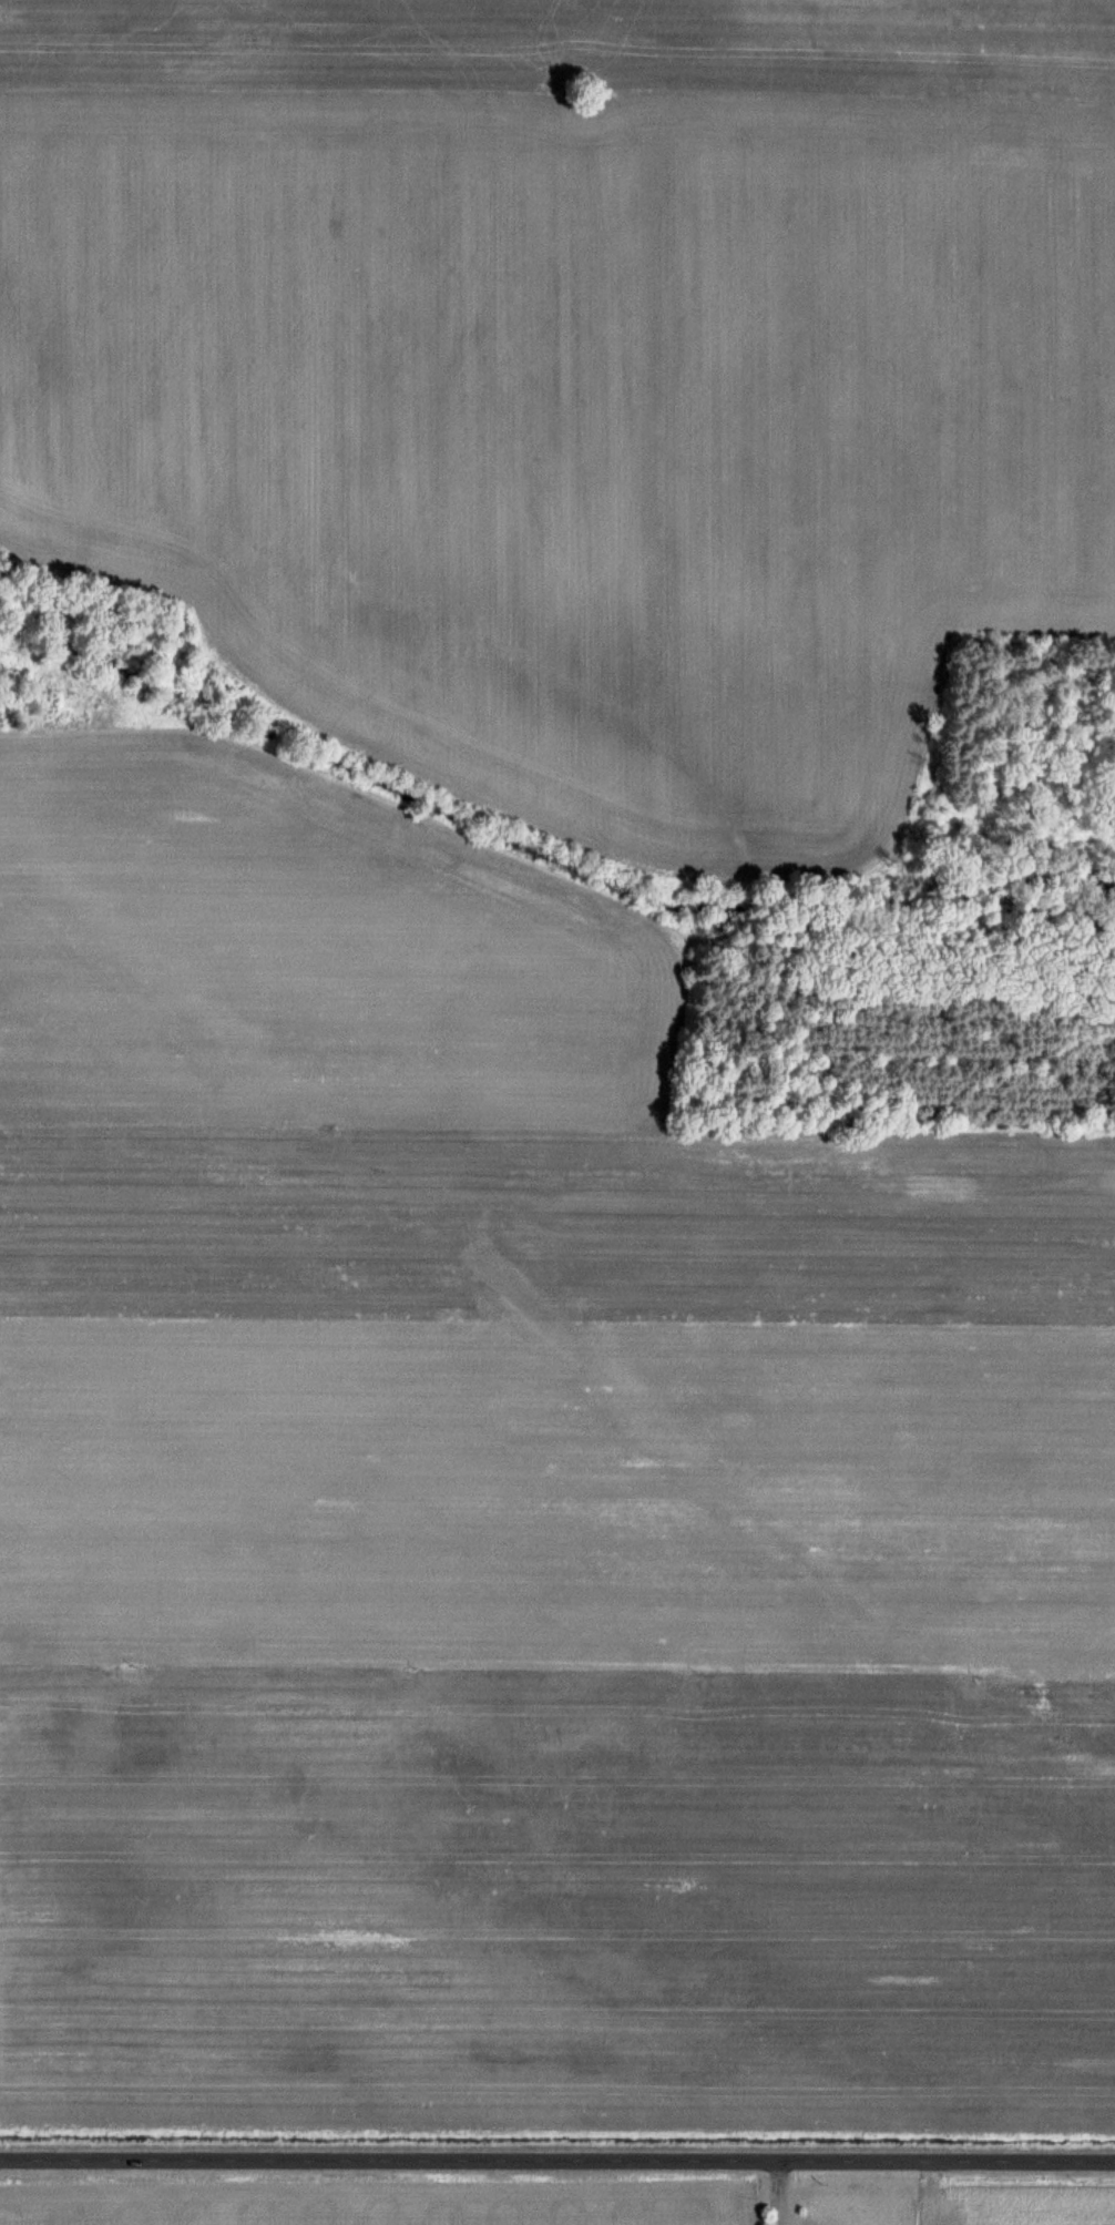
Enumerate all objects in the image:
road: (556, 2158)
road: (785, 2192)

